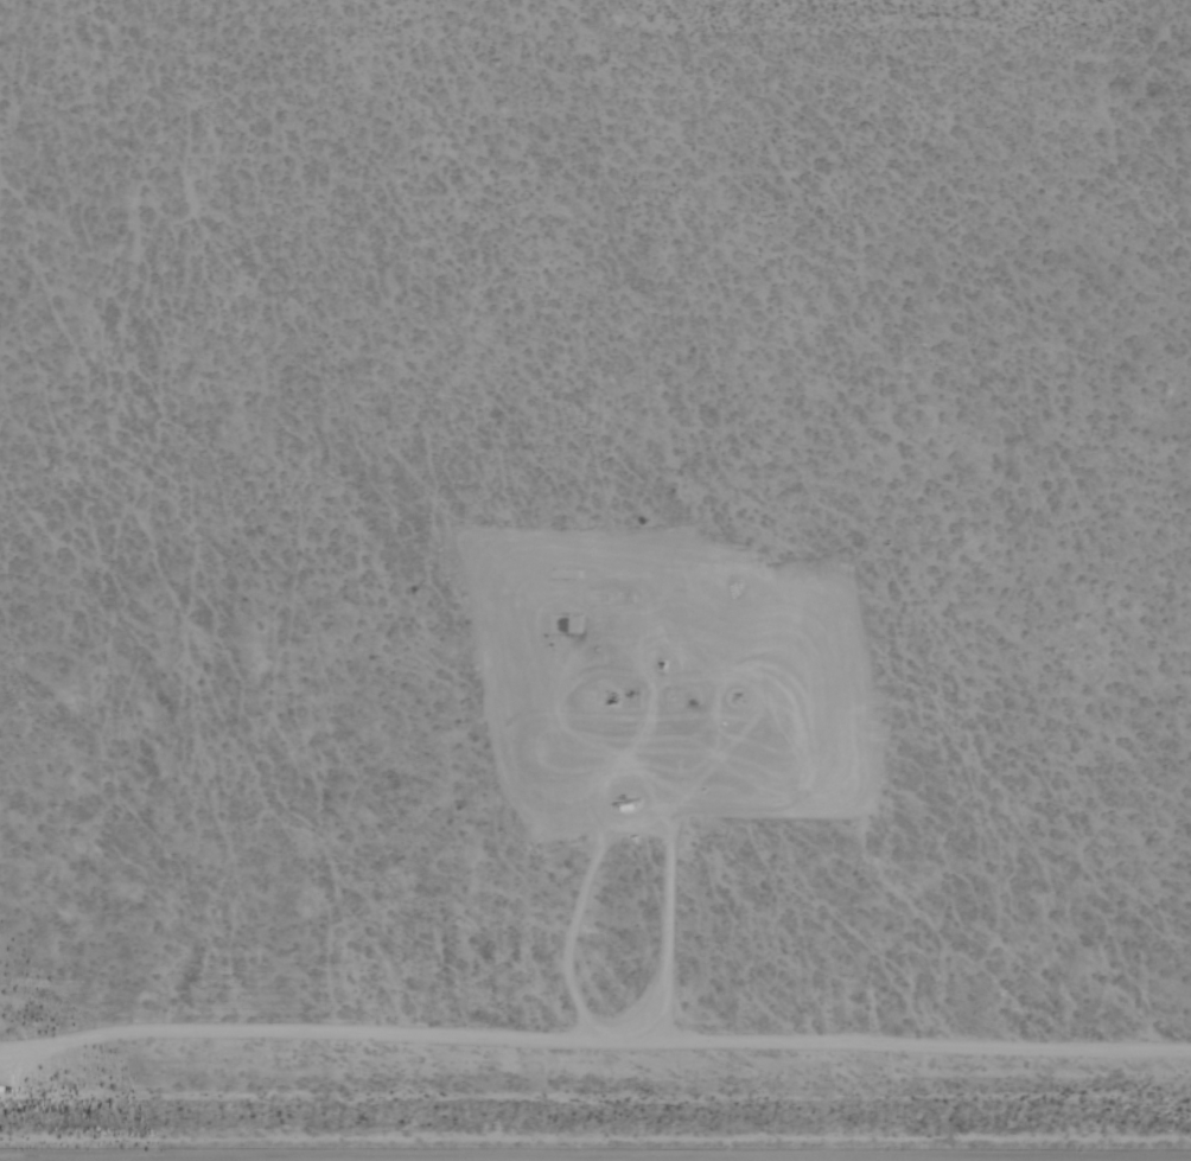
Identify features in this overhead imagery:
airport: (595, 580)
road: (594, 1033)
road: (81, 1160)

